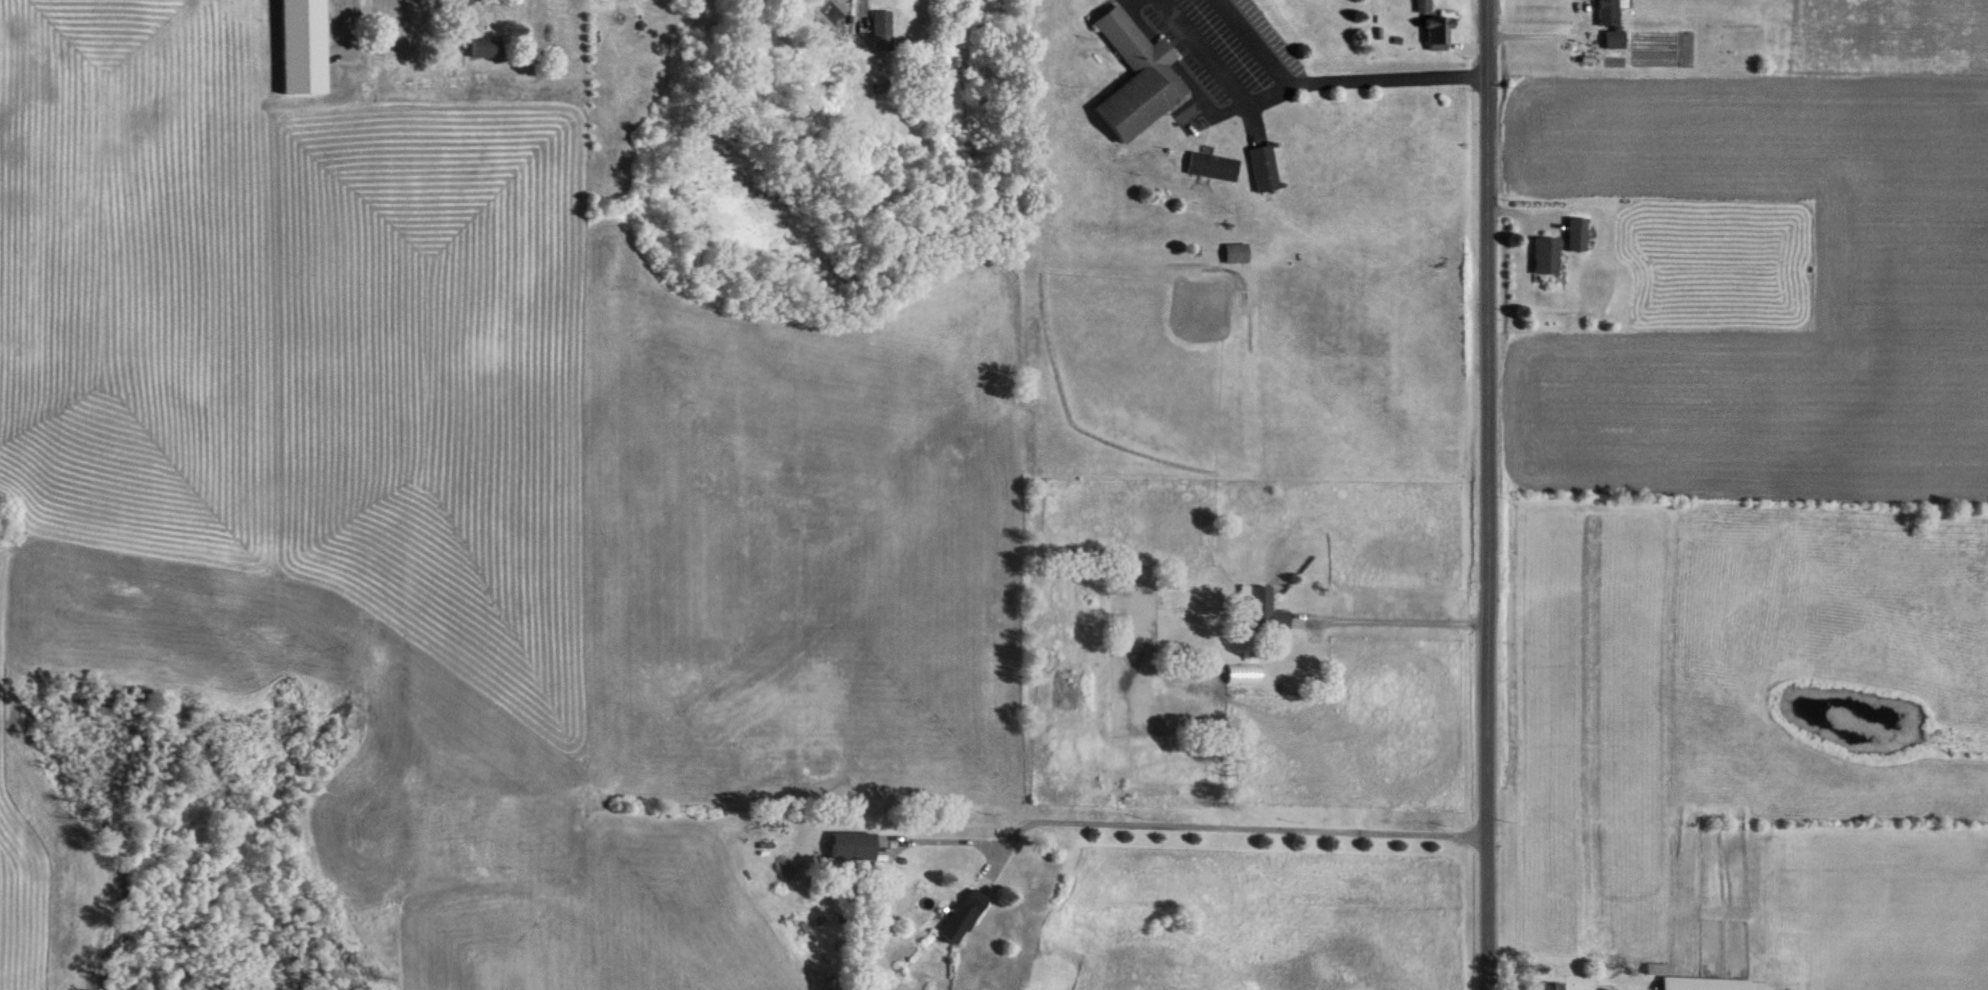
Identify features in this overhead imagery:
building: (1417, 5)
road: (1143, 21)
building: (1607, 23)
building: (879, 26)
road: (469, 28)
building: (1430, 31)
building: (297, 46)
building: (477, 47)
road: (1167, 51)
road: (1219, 69)
building: (1131, 77)
road: (1337, 81)
road: (1203, 96)
building: (1207, 166)
building: (1258, 167)
building: (1572, 233)
building: (1233, 252)
building: (1540, 255)
road: (1495, 495)
building: (1258, 608)
road: (1400, 620)
road: (1229, 825)
building: (844, 844)
building: (954, 916)
building: (1697, 983)
building: (1543, 985)
building: (1603, 989)

